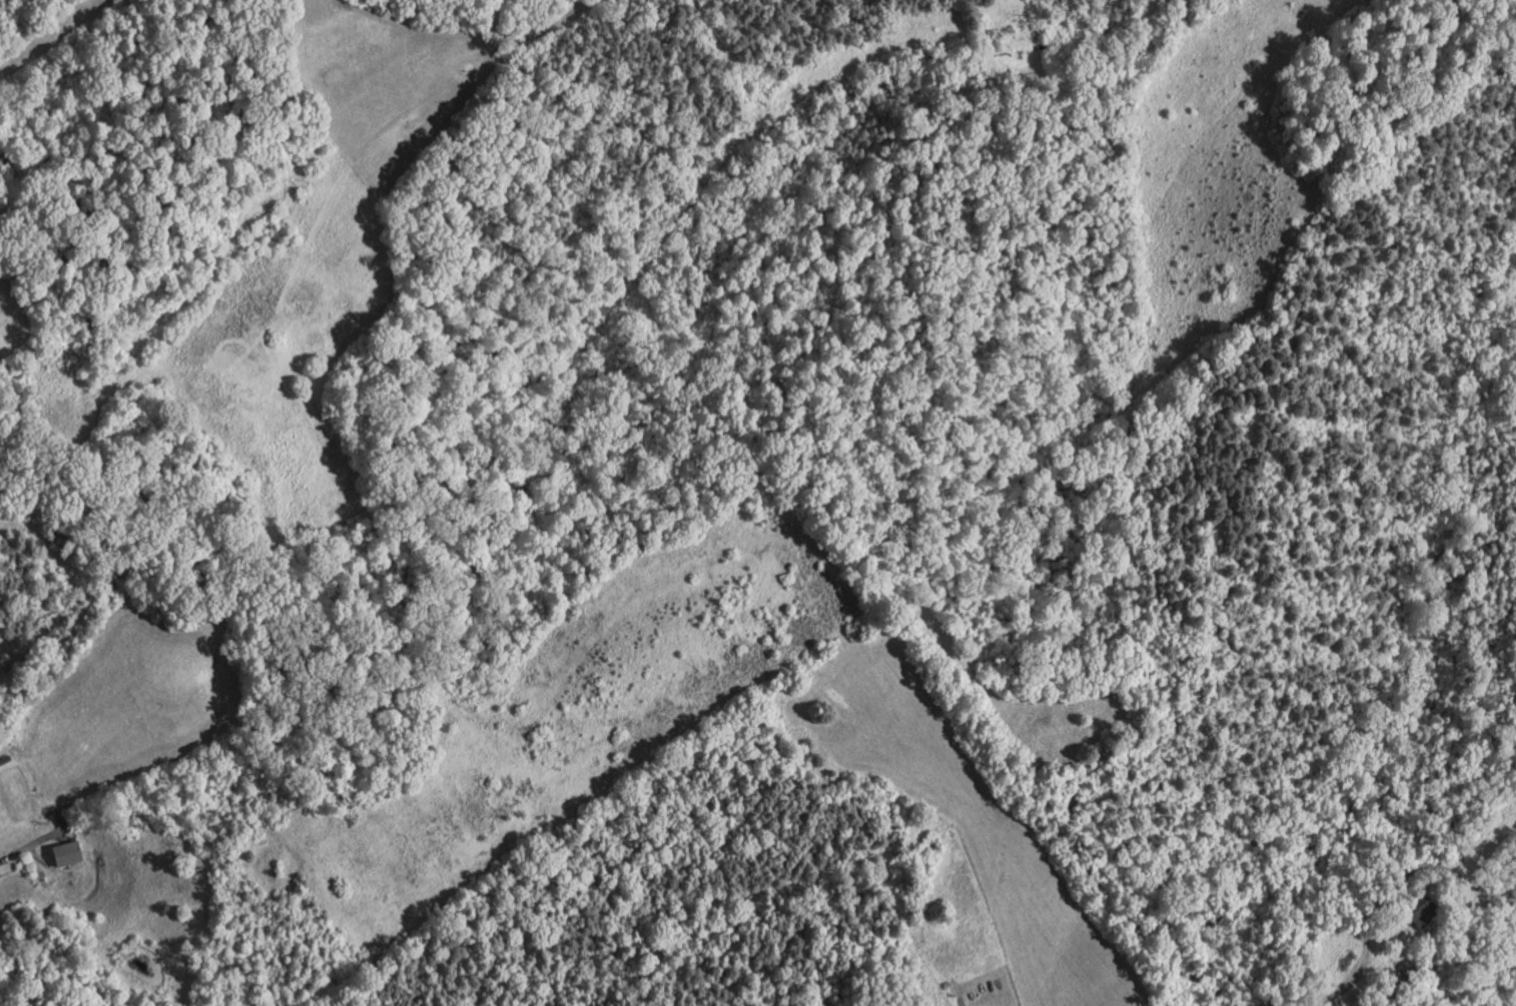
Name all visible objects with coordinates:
road: (531, 33)
road: (22, 848)
building: (70, 854)
road: (37, 855)
road: (1477, 886)
building: (1417, 908)
building: (1387, 995)

